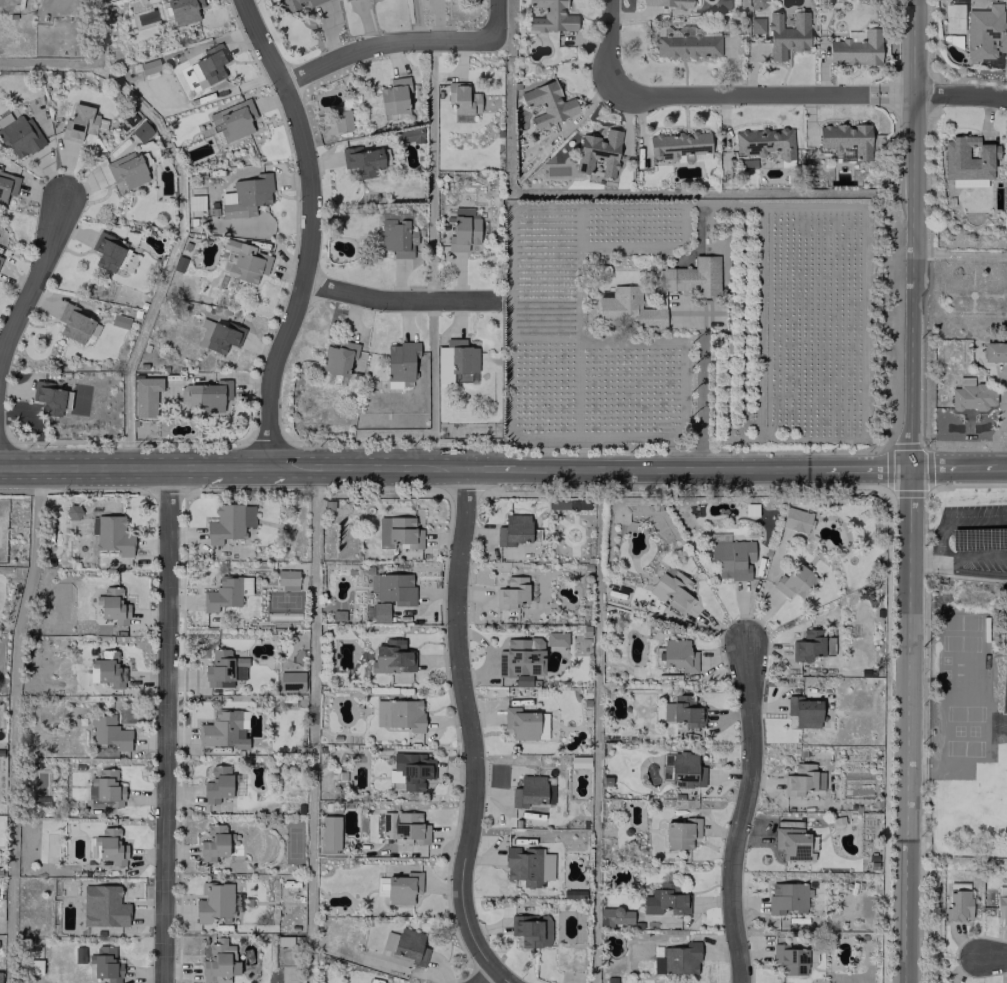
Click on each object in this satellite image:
building: (313, 1)
building: (667, 2)
building: (758, 3)
building: (290, 4)
building: (183, 10)
building: (551, 16)
road: (493, 17)
building: (756, 25)
building: (985, 32)
building: (787, 34)
road: (383, 42)
building: (689, 44)
road: (609, 47)
building: (856, 47)
building: (211, 63)
building: (149, 65)
building: (196, 75)
road: (961, 91)
road: (899, 93)
building: (394, 95)
road: (748, 95)
building: (547, 102)
building: (233, 119)
building: (341, 120)
building: (78, 122)
building: (141, 131)
building: (19, 134)
building: (846, 138)
building: (764, 141)
building: (677, 145)
building: (598, 152)
building: (361, 159)
building: (968, 160)
building: (126, 171)
building: (7, 185)
building: (246, 196)
road: (310, 227)
building: (463, 229)
road: (912, 234)
building: (397, 237)
building: (109, 251)
building: (0, 256)
building: (245, 261)
road: (33, 281)
building: (659, 293)
road: (402, 297)
building: (119, 320)
building: (73, 323)
building: (222, 336)
building: (994, 351)
building: (338, 357)
building: (455, 359)
building: (400, 363)
road: (699, 387)
building: (48, 396)
building: (145, 396)
building: (206, 396)
building: (971, 396)
road: (234, 464)
road: (1005, 467)
road: (496, 468)
road: (956, 468)
road: (666, 469)
road: (859, 469)
building: (576, 504)
building: (73, 511)
building: (796, 519)
building: (229, 522)
building: (513, 529)
building: (398, 532)
building: (111, 534)
road: (957, 556)
building: (732, 558)
road: (968, 572)
building: (287, 579)
building: (794, 581)
building: (393, 587)
building: (511, 591)
building: (672, 591)
building: (114, 605)
building: (380, 611)
building: (556, 638)
building: (811, 645)
building: (678, 654)
building: (520, 656)
building: (392, 657)
building: (224, 668)
building: (106, 669)
building: (291, 680)
building: (686, 710)
building: (803, 711)
building: (381, 712)
building: (405, 714)
road: (471, 723)
road: (167, 724)
building: (523, 724)
road: (906, 726)
building: (225, 729)
building: (109, 732)
building: (579, 761)
building: (682, 768)
building: (408, 771)
building: (799, 779)
building: (217, 784)
building: (106, 787)
building: (528, 790)
road: (744, 812)
building: (403, 827)
building: (680, 833)
building: (214, 843)
building: (111, 846)
building: (793, 846)
building: (528, 865)
building: (403, 887)
building: (787, 896)
building: (664, 899)
building: (957, 901)
building: (217, 903)
building: (1002, 905)
building: (103, 906)
building: (615, 916)
building: (531, 929)
building: (410, 947)
road: (993, 956)
building: (677, 959)
building: (789, 959)
building: (219, 962)
building: (105, 964)
building: (29, 966)
road: (487, 976)
road: (503, 976)

